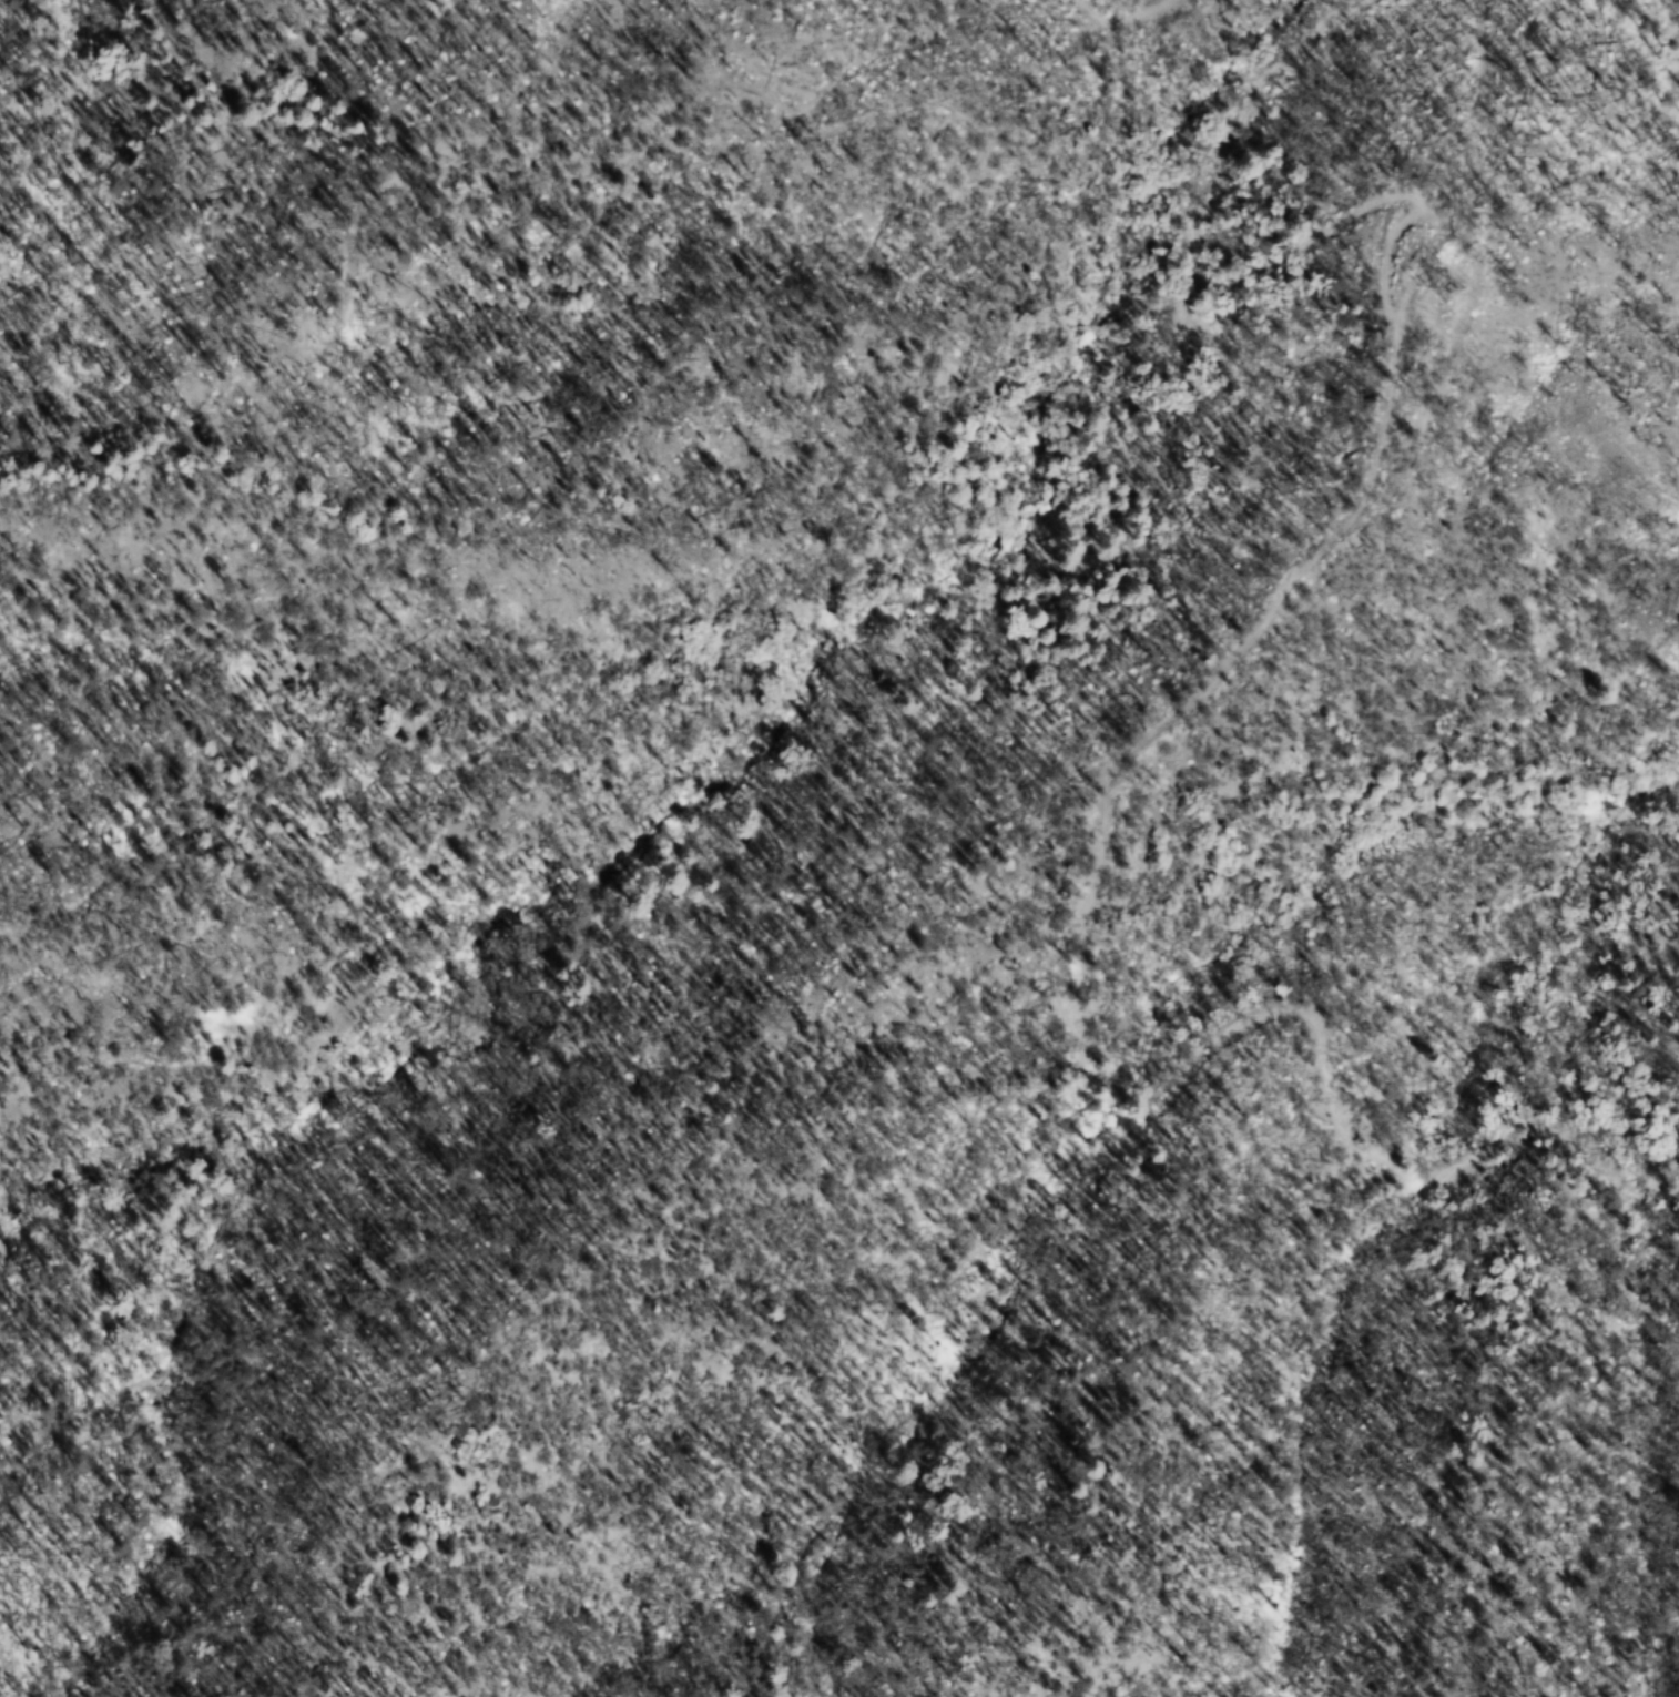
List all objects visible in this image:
power tower: (1451, 288)

